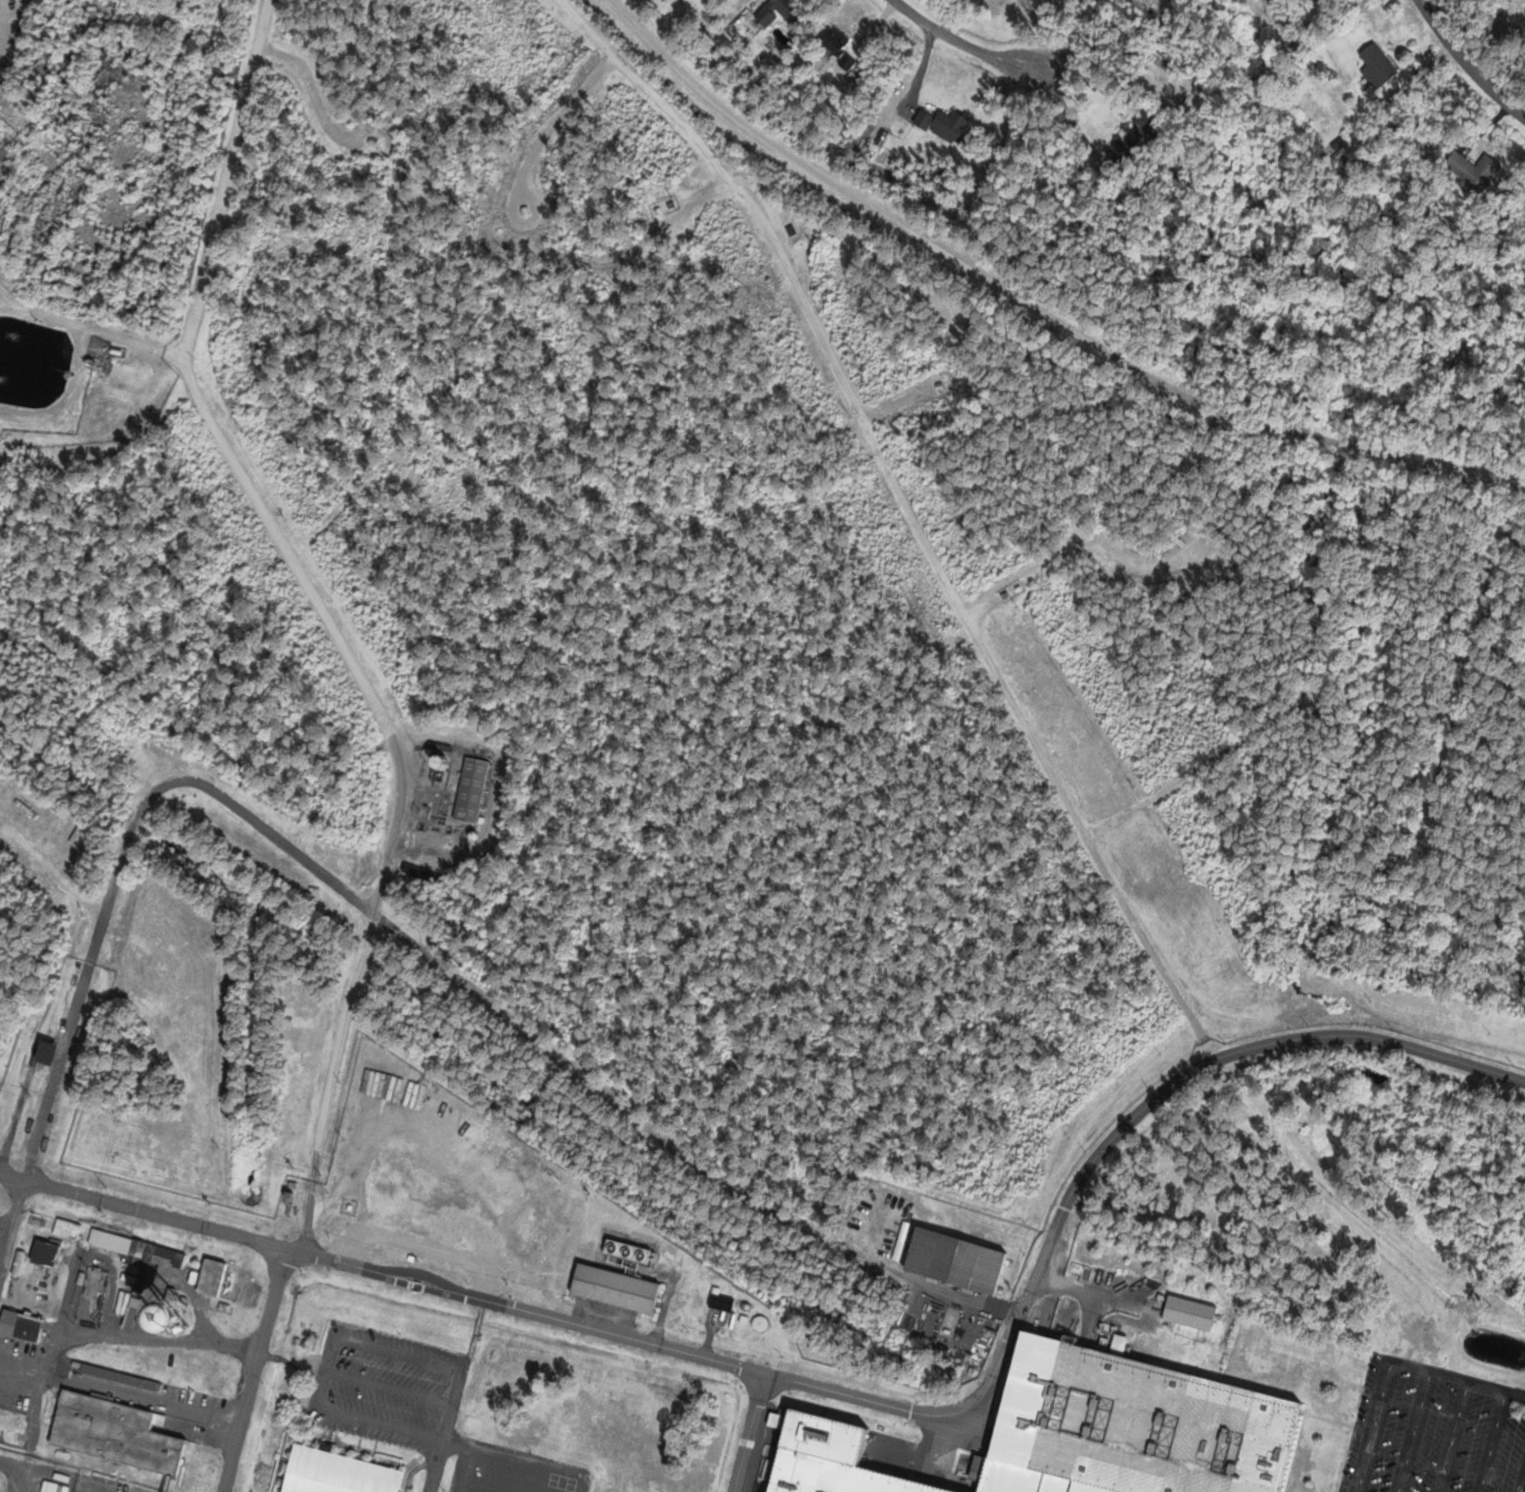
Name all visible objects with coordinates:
building: (1319, 1)
building: (779, 12)
building: (1496, 33)
building: (833, 41)
road: (961, 46)
building: (1377, 63)
road: (1466, 63)
building: (942, 124)
building: (1132, 143)
building: (1471, 170)
road: (1035, 305)
road: (91, 327)
road: (332, 619)
building: (470, 791)
road: (407, 941)
building: (65, 1229)
building: (44, 1254)
building: (954, 1260)
building: (134, 1263)
building: (210, 1277)
building: (613, 1289)
building: (720, 1303)
building: (1182, 1319)
building: (157, 1325)
building: (20, 1326)
road: (254, 1370)
road: (847, 1393)
building: (11, 1419)
building: (1129, 1426)
building: (113, 1432)
road: (748, 1432)
building: (336, 1472)
building: (839, 1477)

